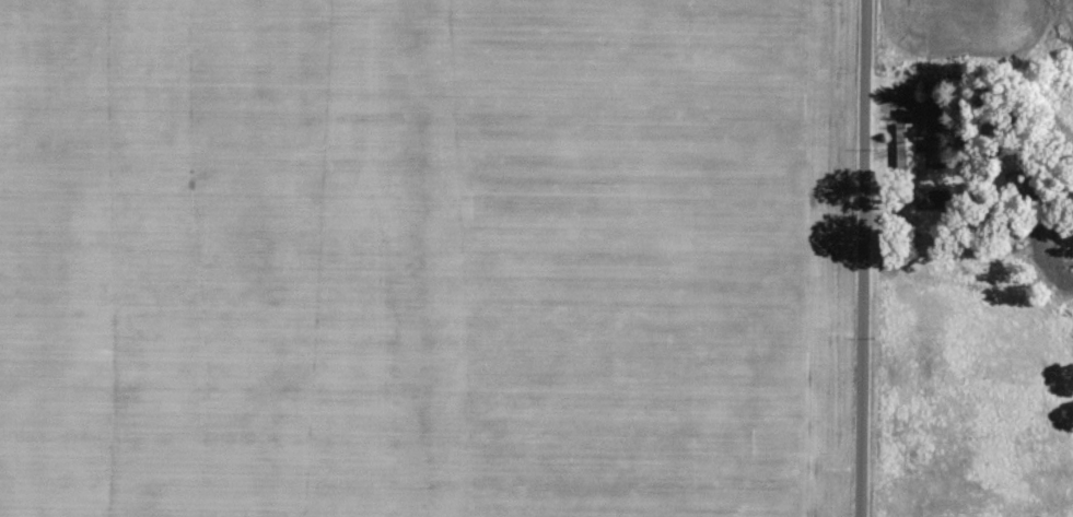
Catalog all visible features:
building: (910, 148)
building: (937, 199)
road: (859, 258)

